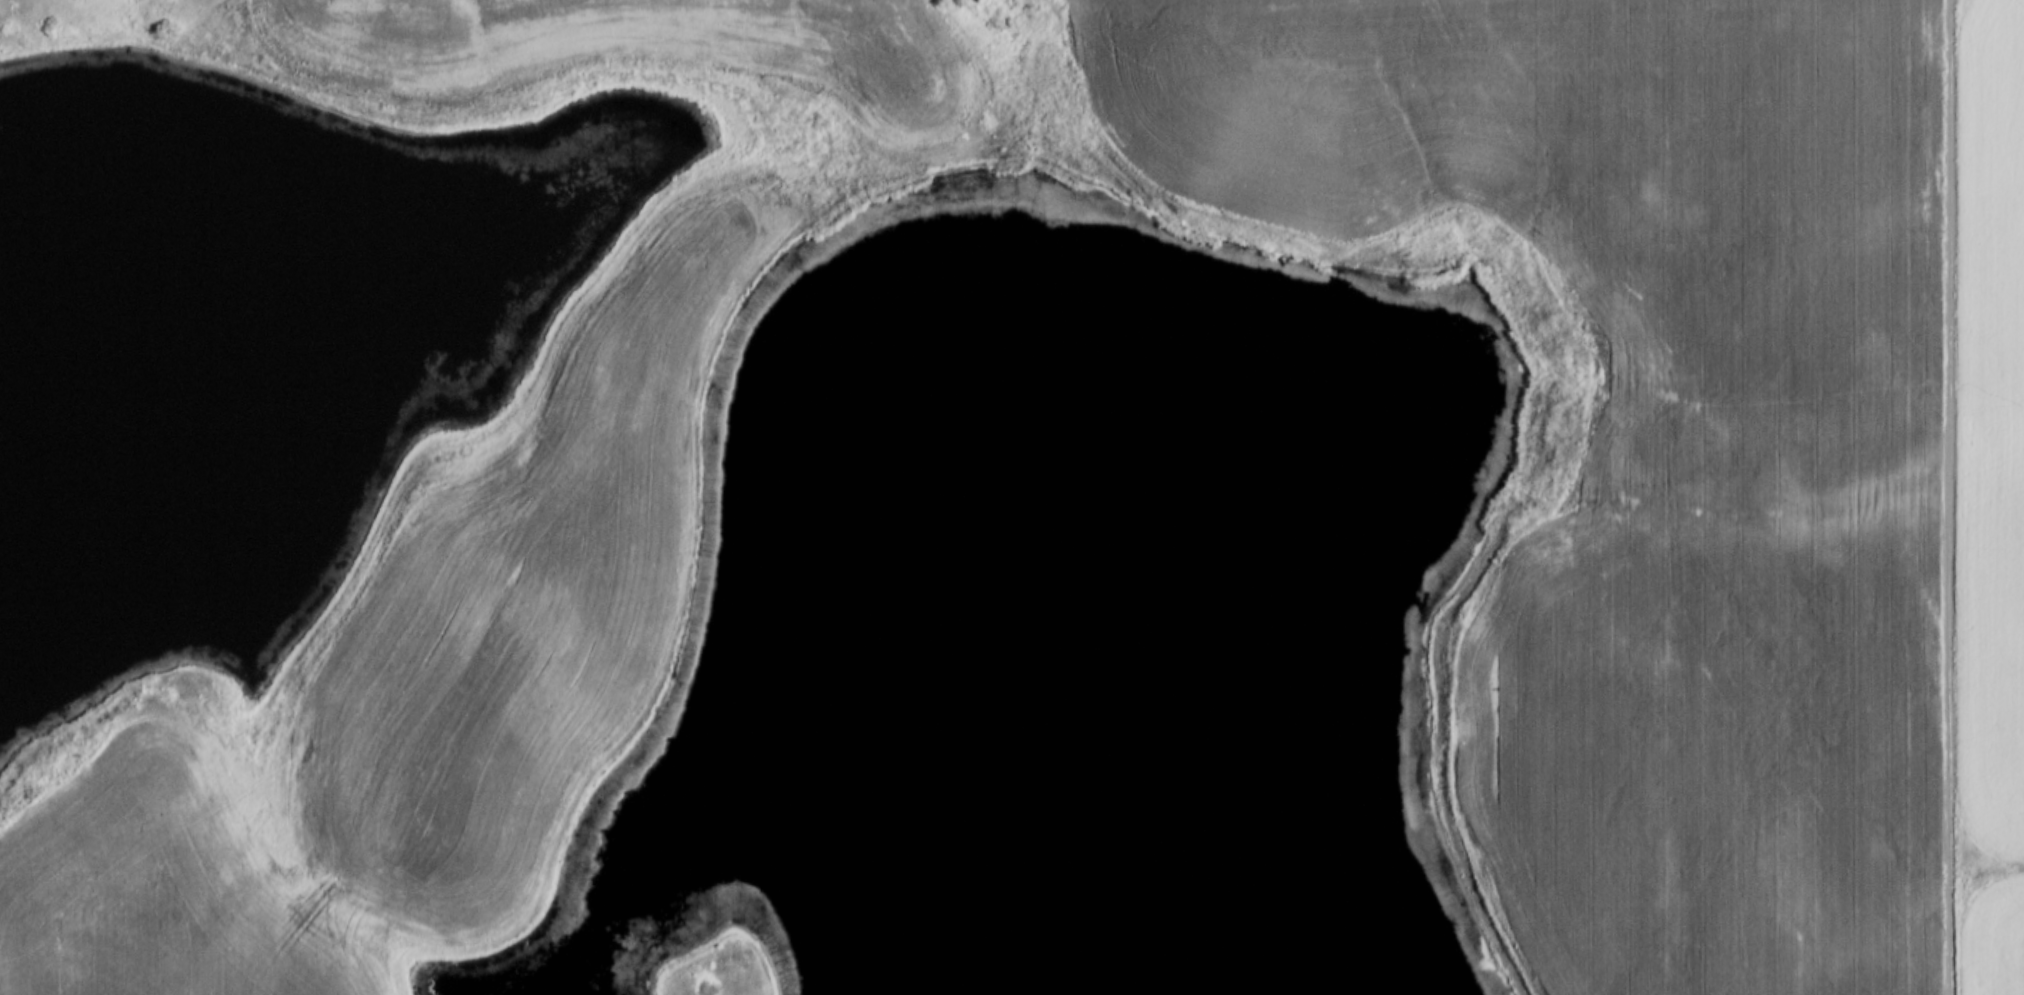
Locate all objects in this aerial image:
road: (1953, 496)

